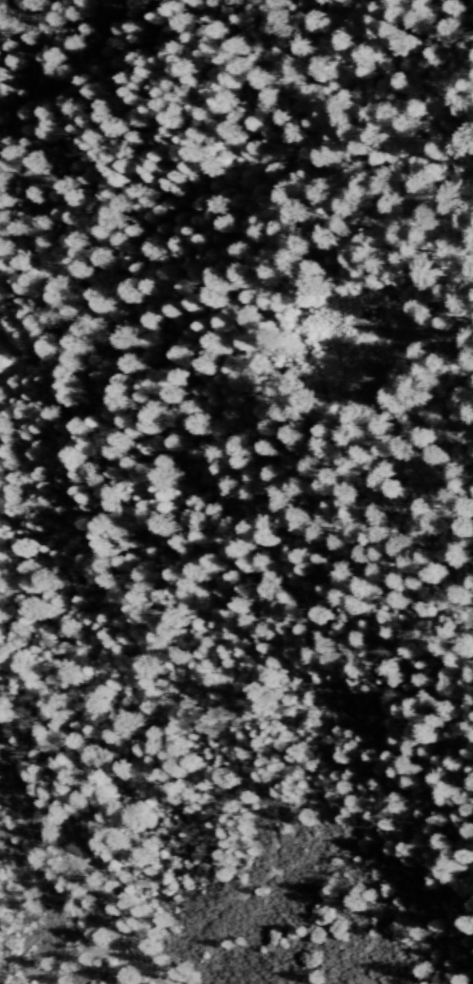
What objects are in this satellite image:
park: (220, 784)
road: (85, 863)
park: (52, 908)

